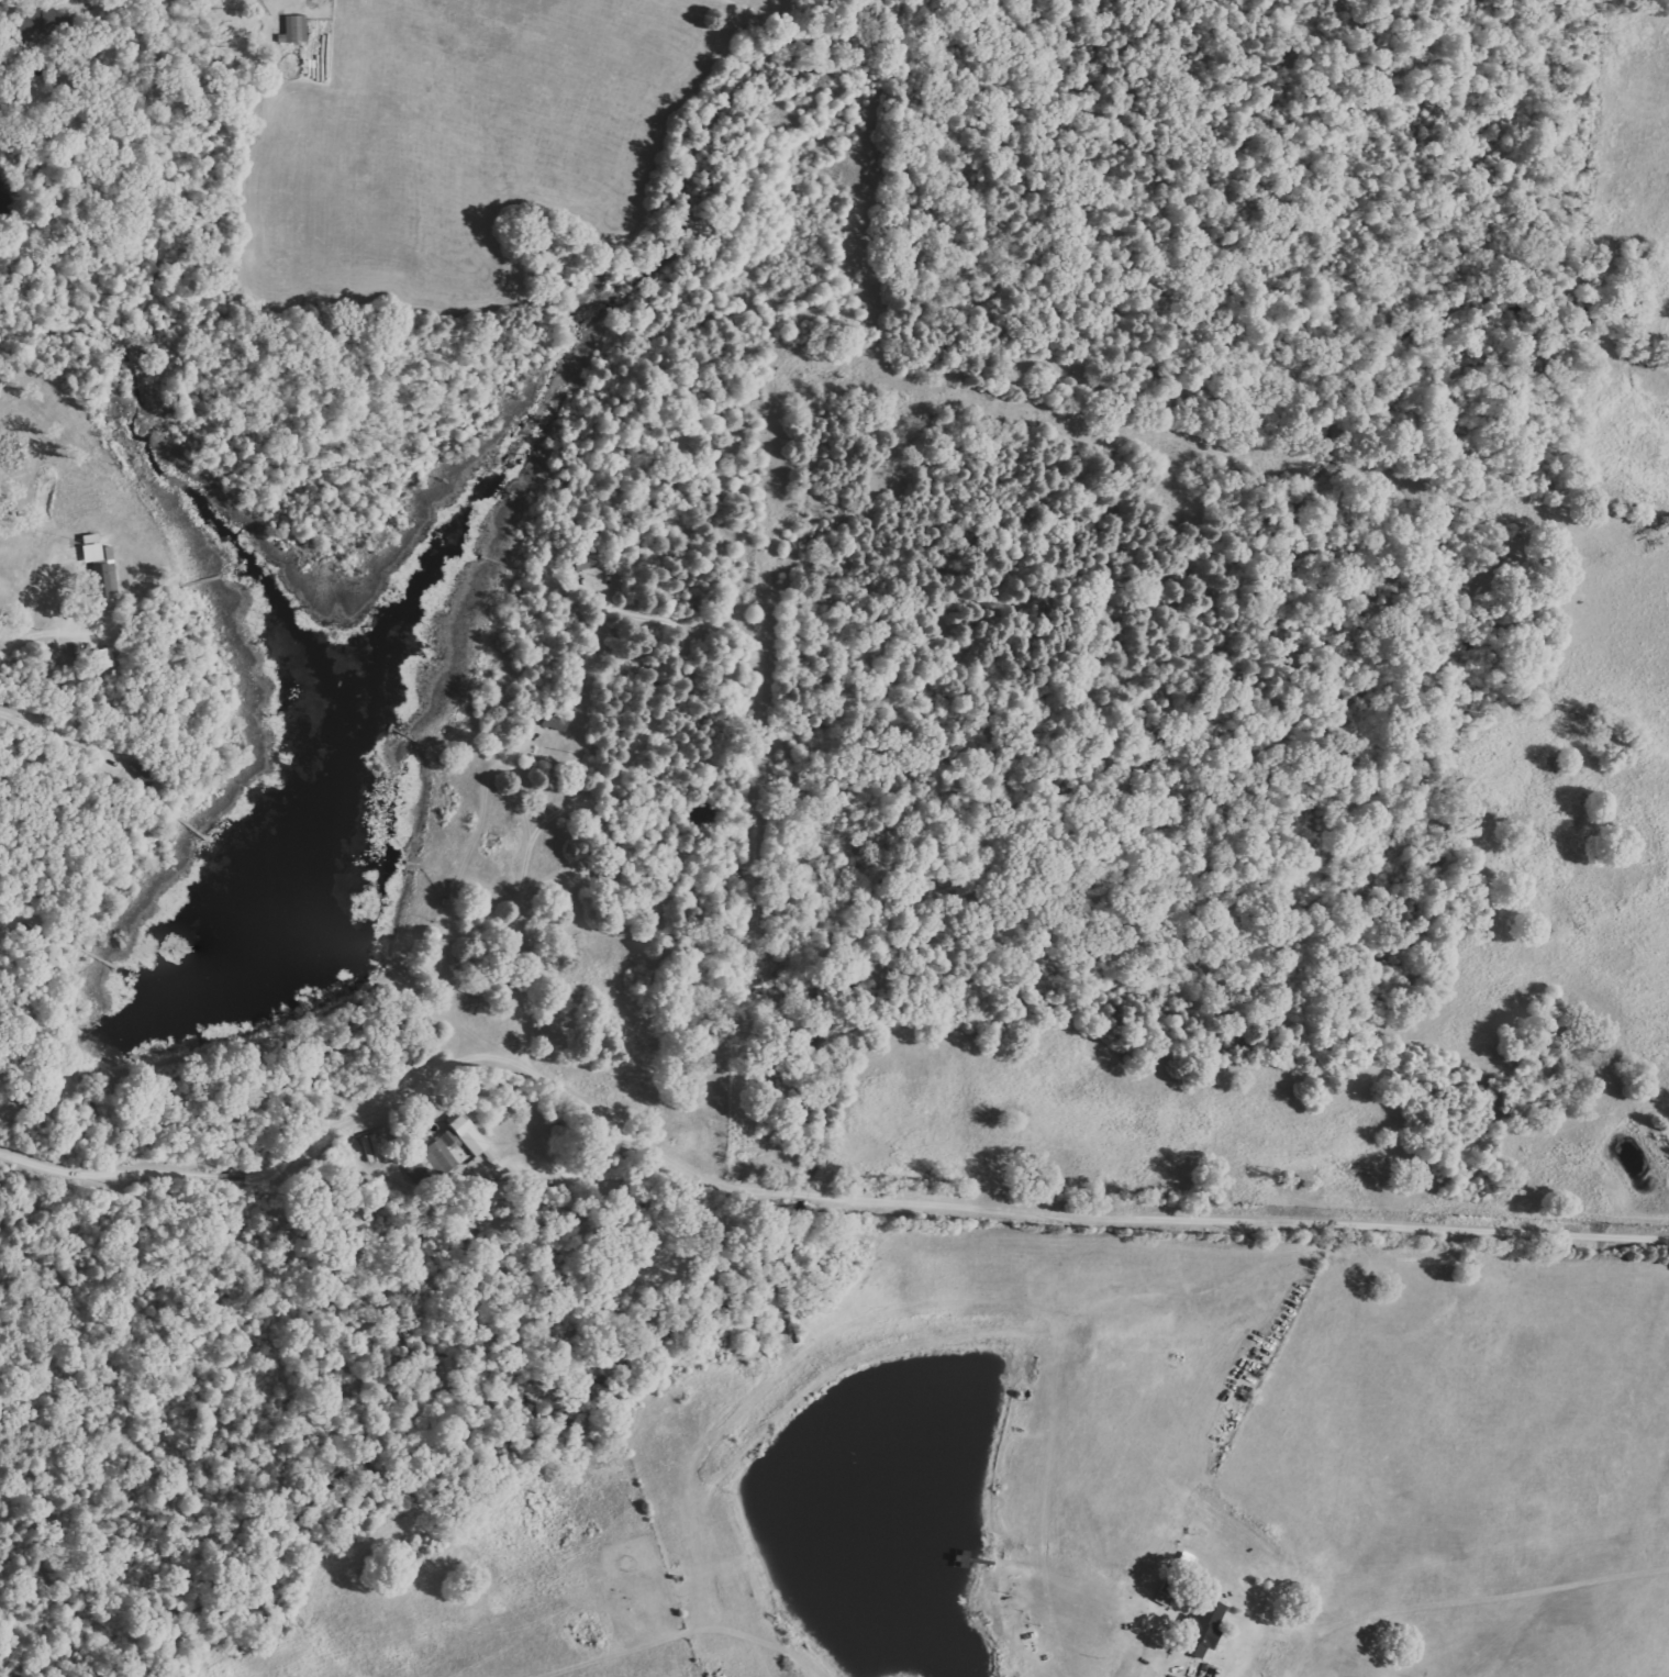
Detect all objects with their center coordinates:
building: (40, 22)
building: (293, 27)
building: (97, 563)
building: (583, 563)
road: (15, 634)
building: (101, 657)
building: (448, 1145)
road: (799, 1195)
building: (1200, 1626)
road: (1199, 1675)

